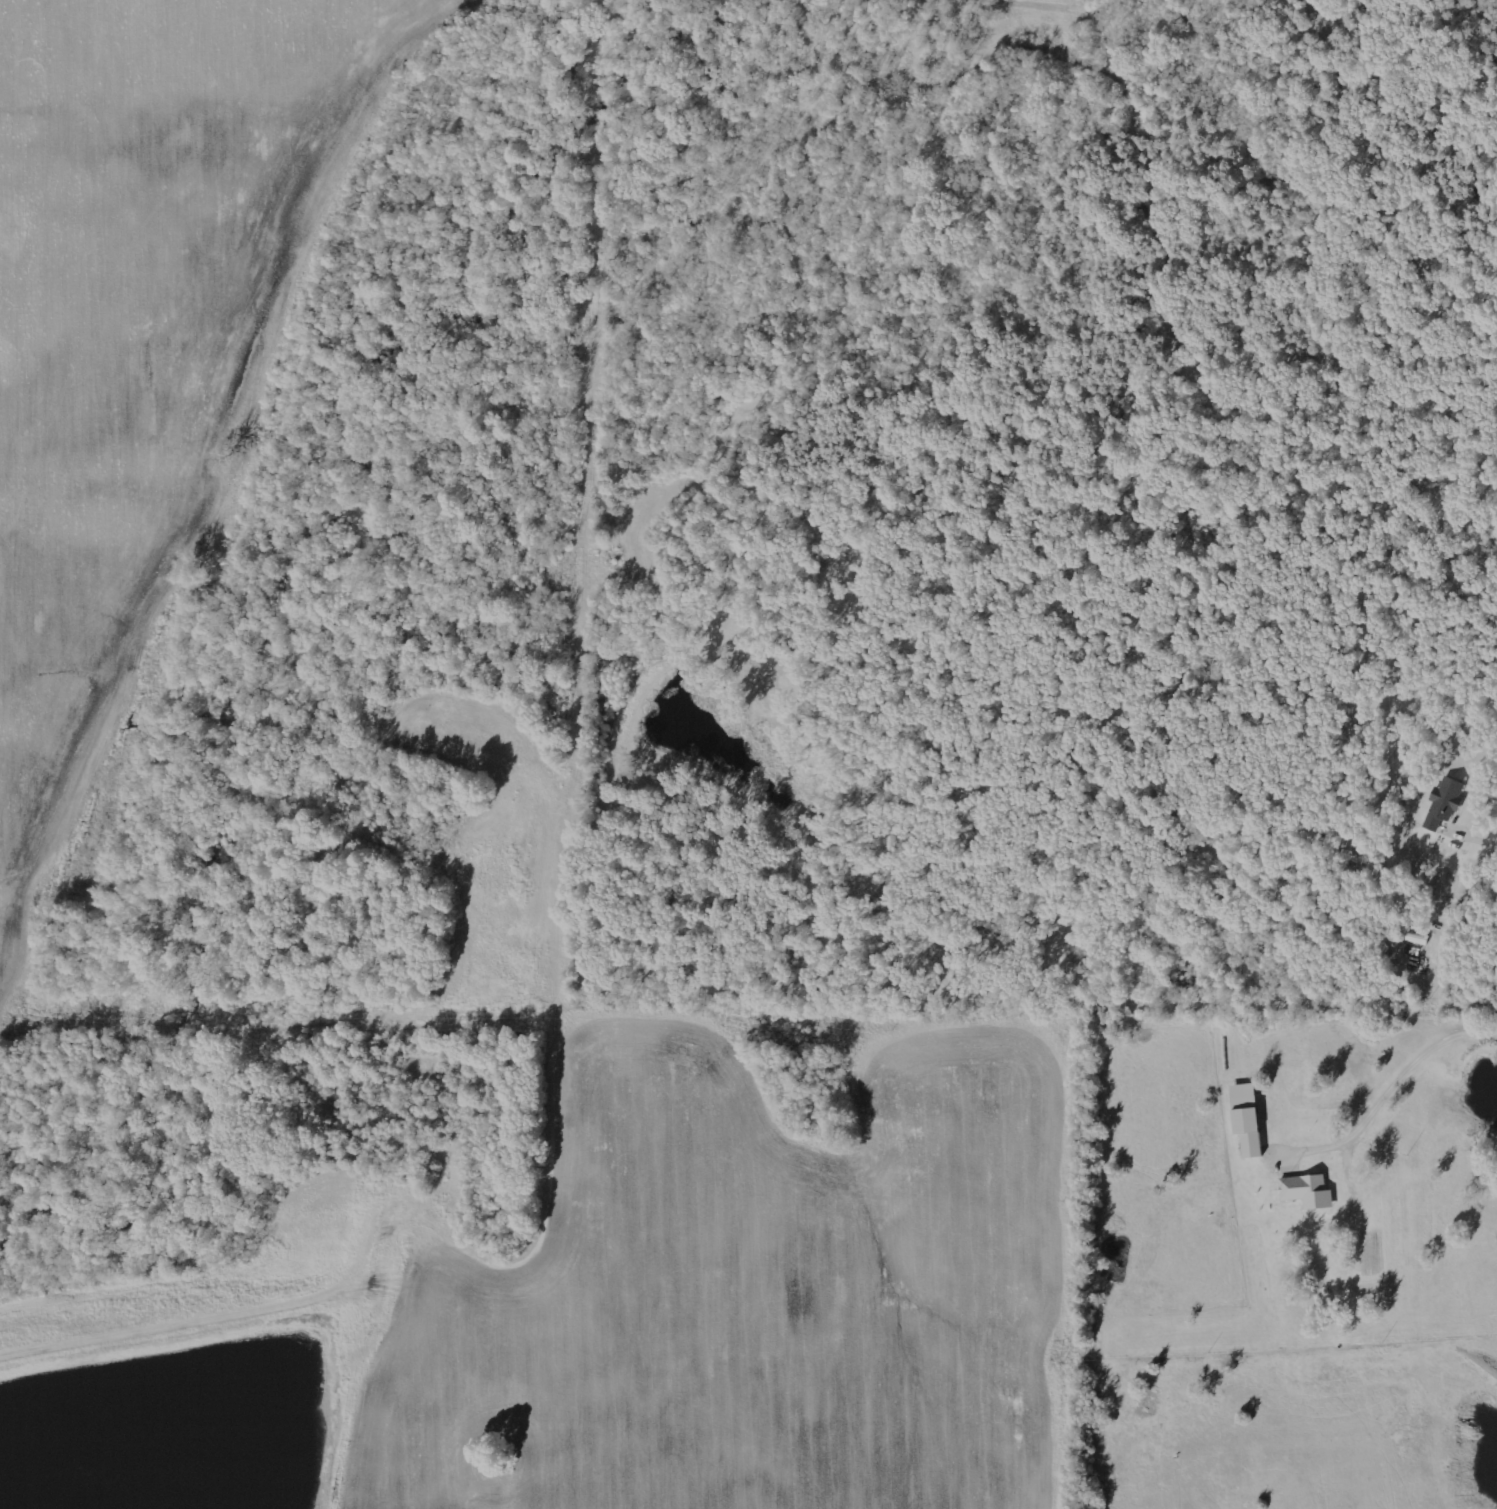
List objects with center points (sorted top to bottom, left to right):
building: (1445, 801)
building: (1248, 1125)
building: (1307, 1191)

